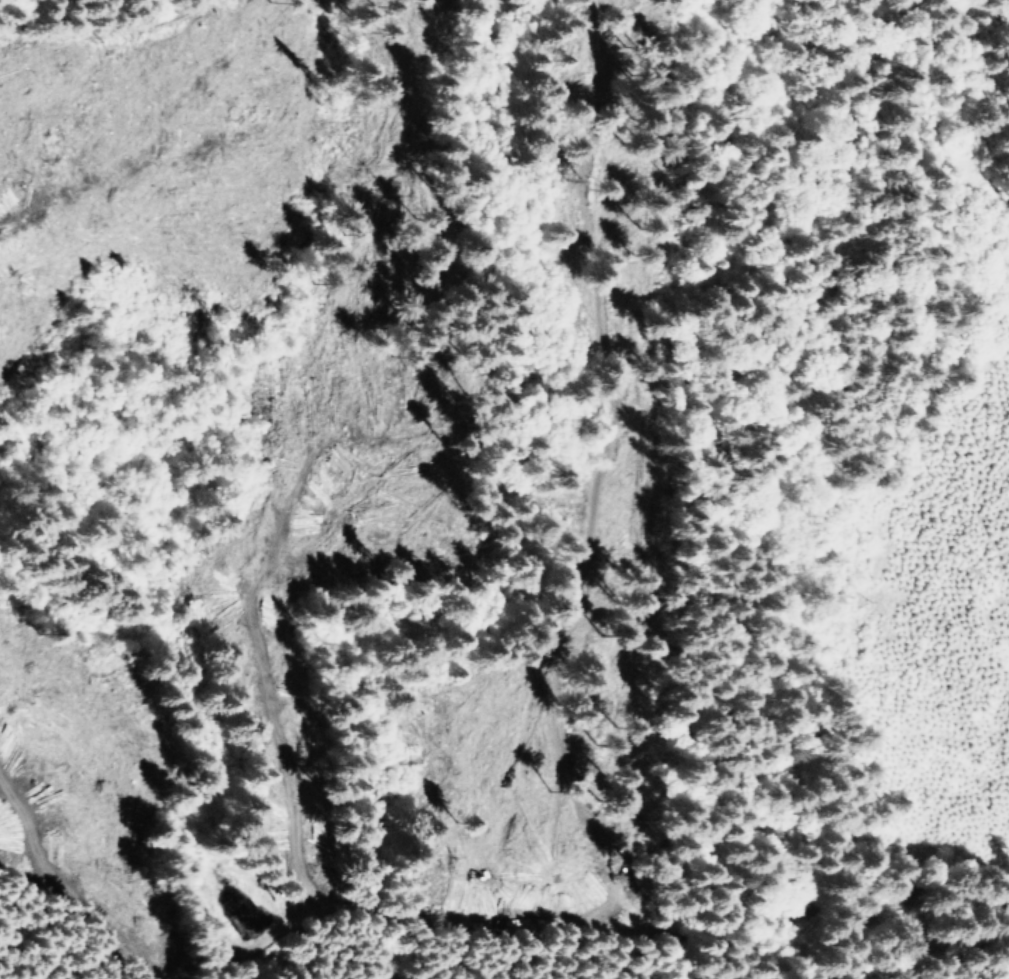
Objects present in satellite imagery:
road: (119, 11)
road: (876, 115)
road: (597, 236)
road: (571, 643)
road: (418, 902)

